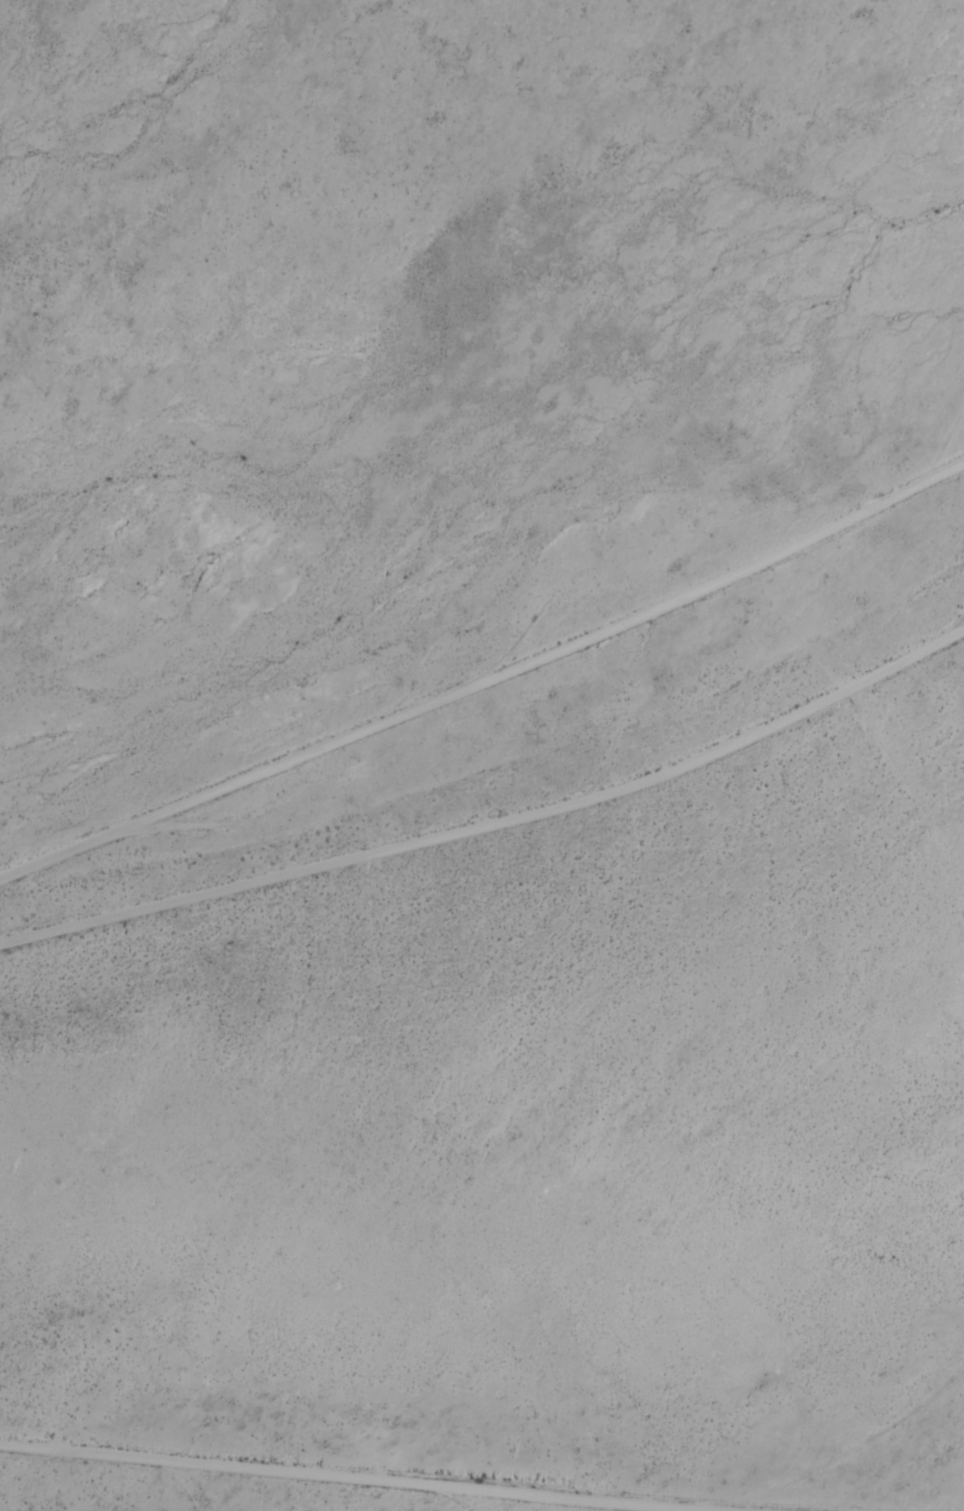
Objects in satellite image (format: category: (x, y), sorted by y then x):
road: (478, 664)

